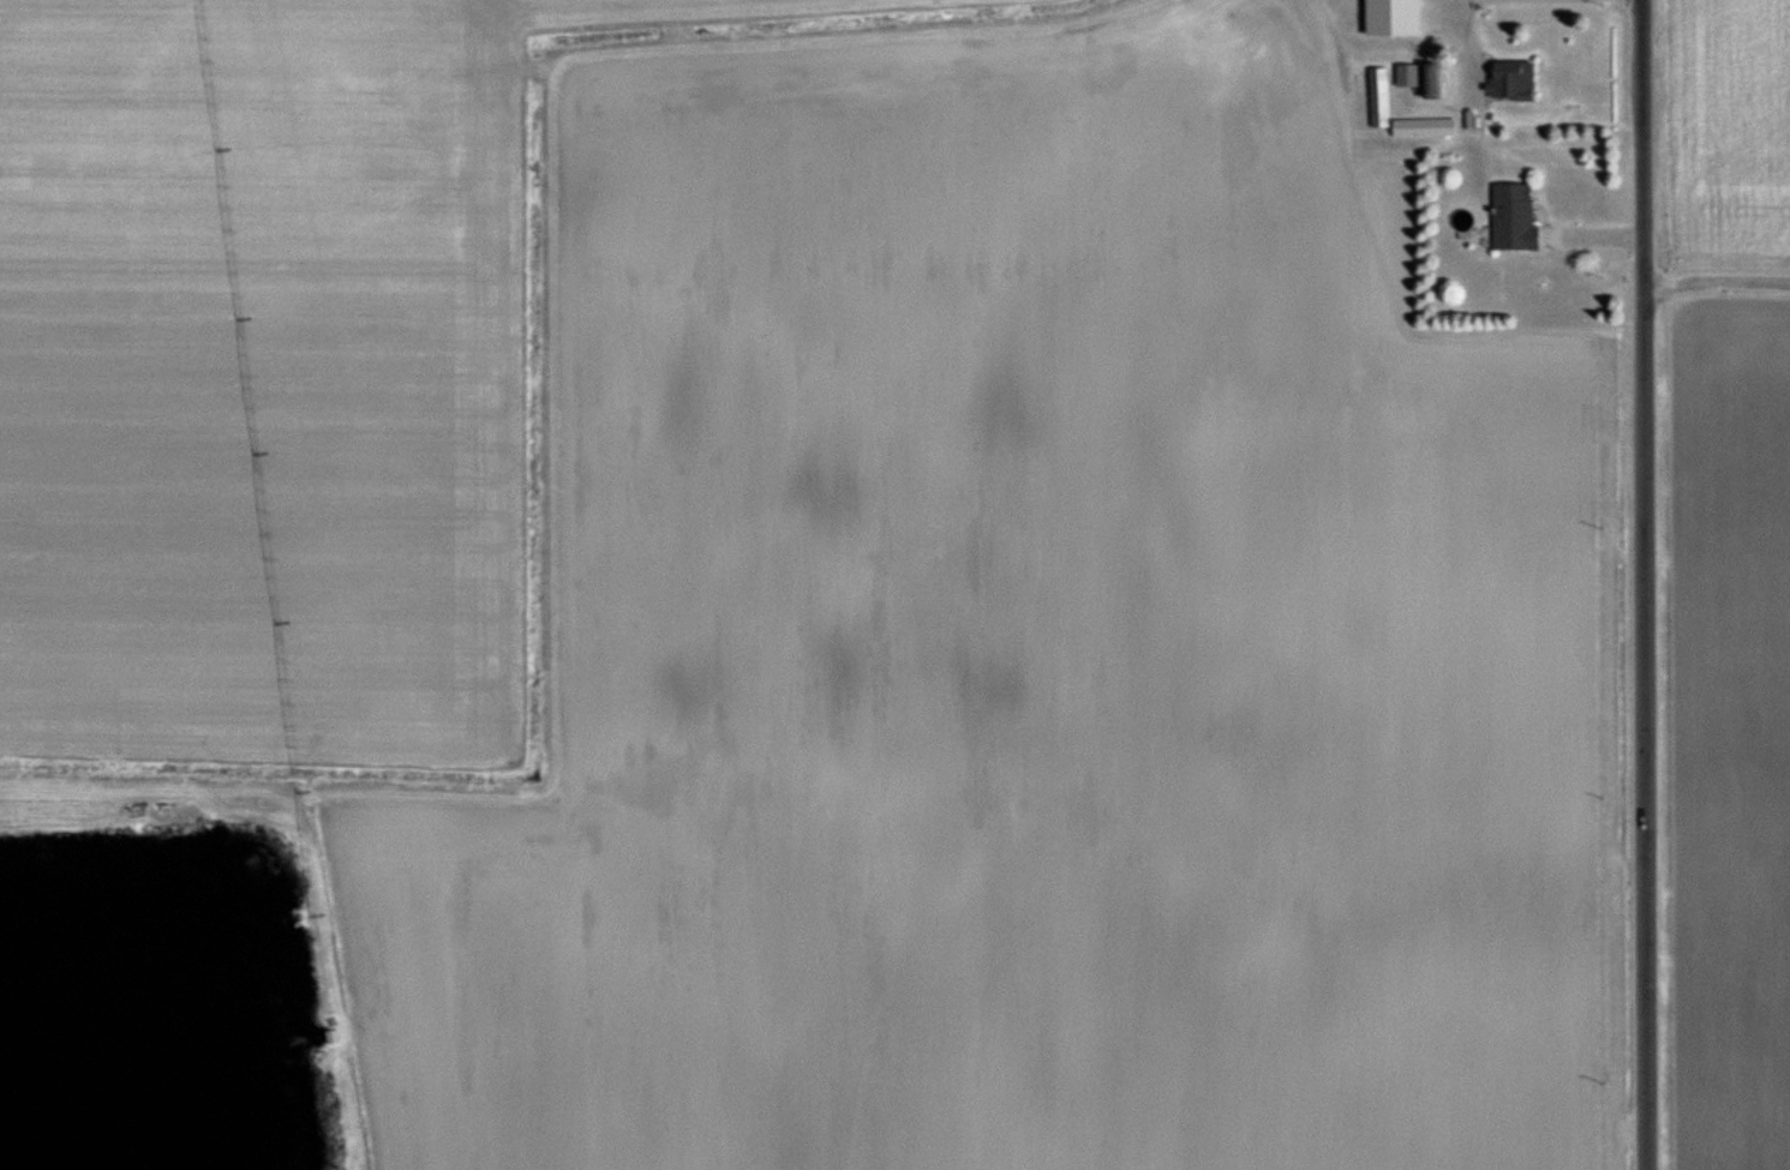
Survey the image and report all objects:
building: (1395, 17)
building: (1409, 76)
building: (1511, 80)
building: (1435, 82)
building: (1381, 98)
building: (1425, 128)
building: (1515, 217)
road: (1716, 275)
road: (1641, 584)

